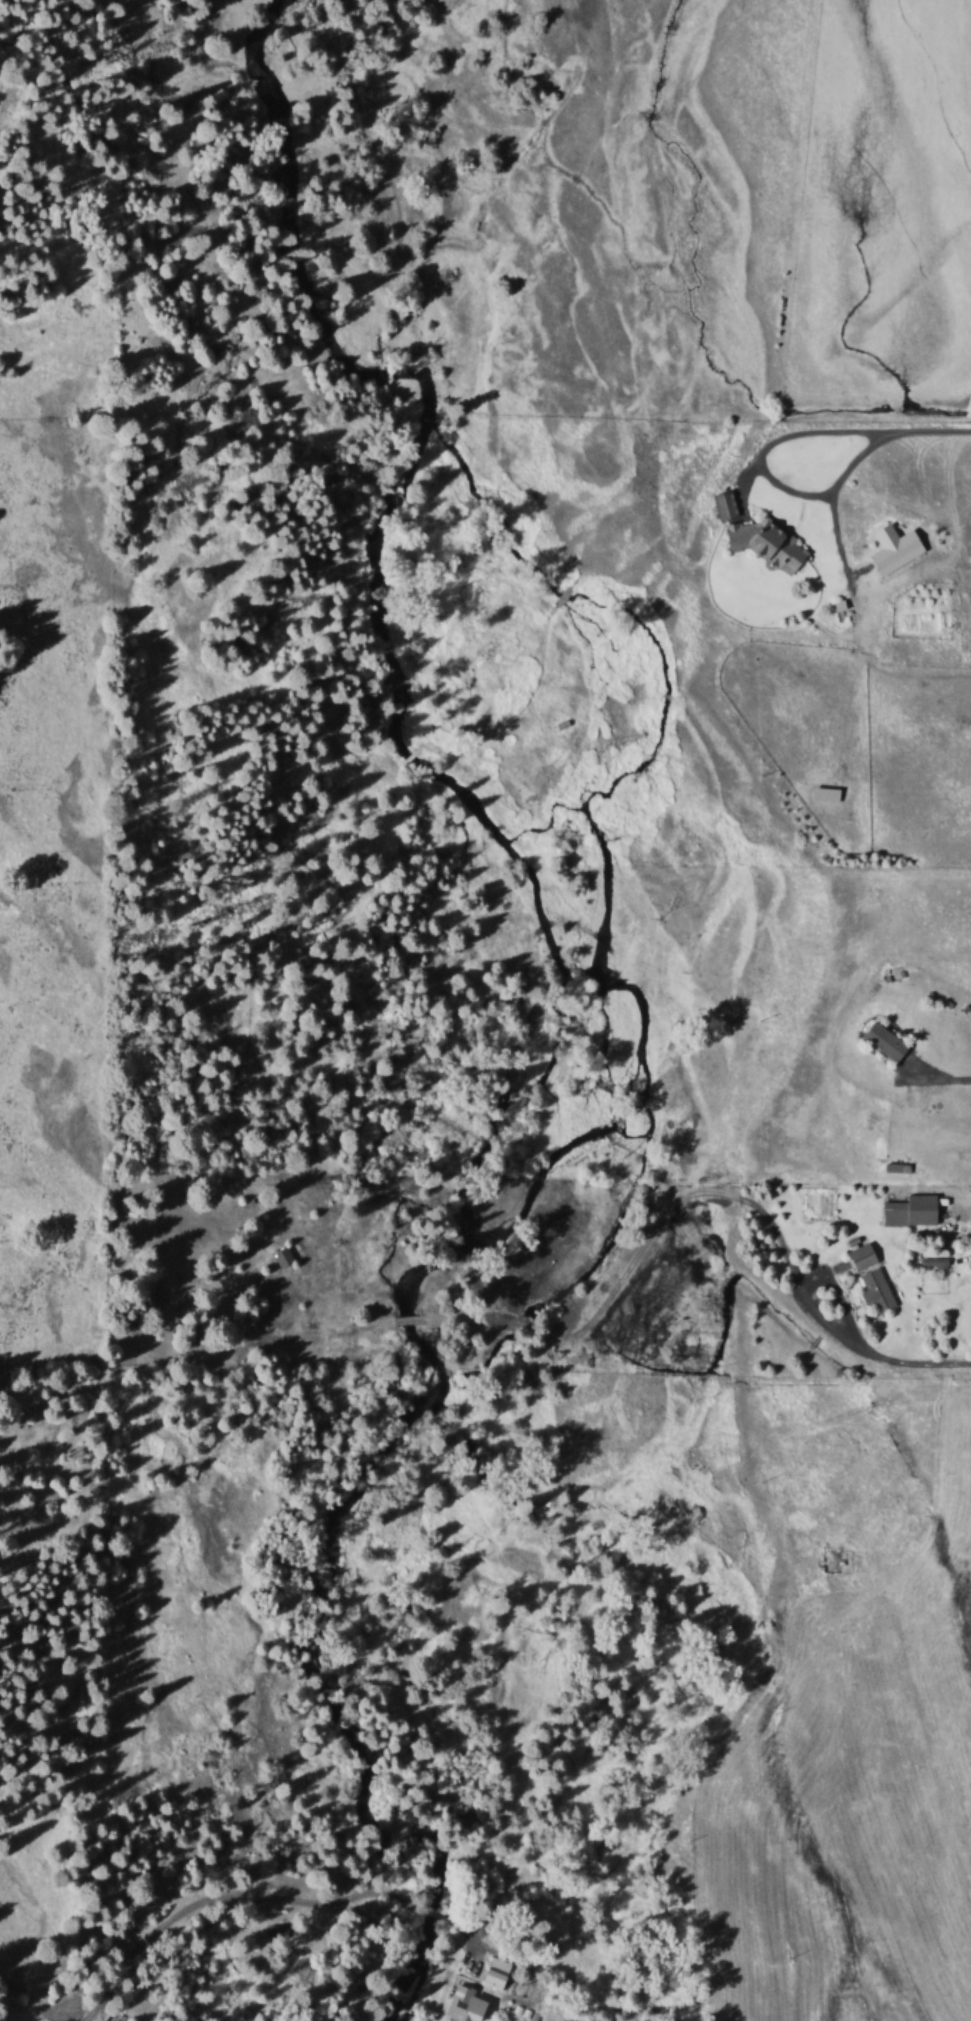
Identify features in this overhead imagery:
road: (891, 425)
building: (727, 502)
building: (767, 541)
building: (893, 547)
building: (831, 791)
building: (891, 1040)
river: (573, 1076)
crop: (867, 1126)
building: (916, 1209)
building: (288, 1255)
building: (869, 1255)
building: (939, 1258)
building: (882, 1289)
building: (502, 1974)
building: (472, 2004)

